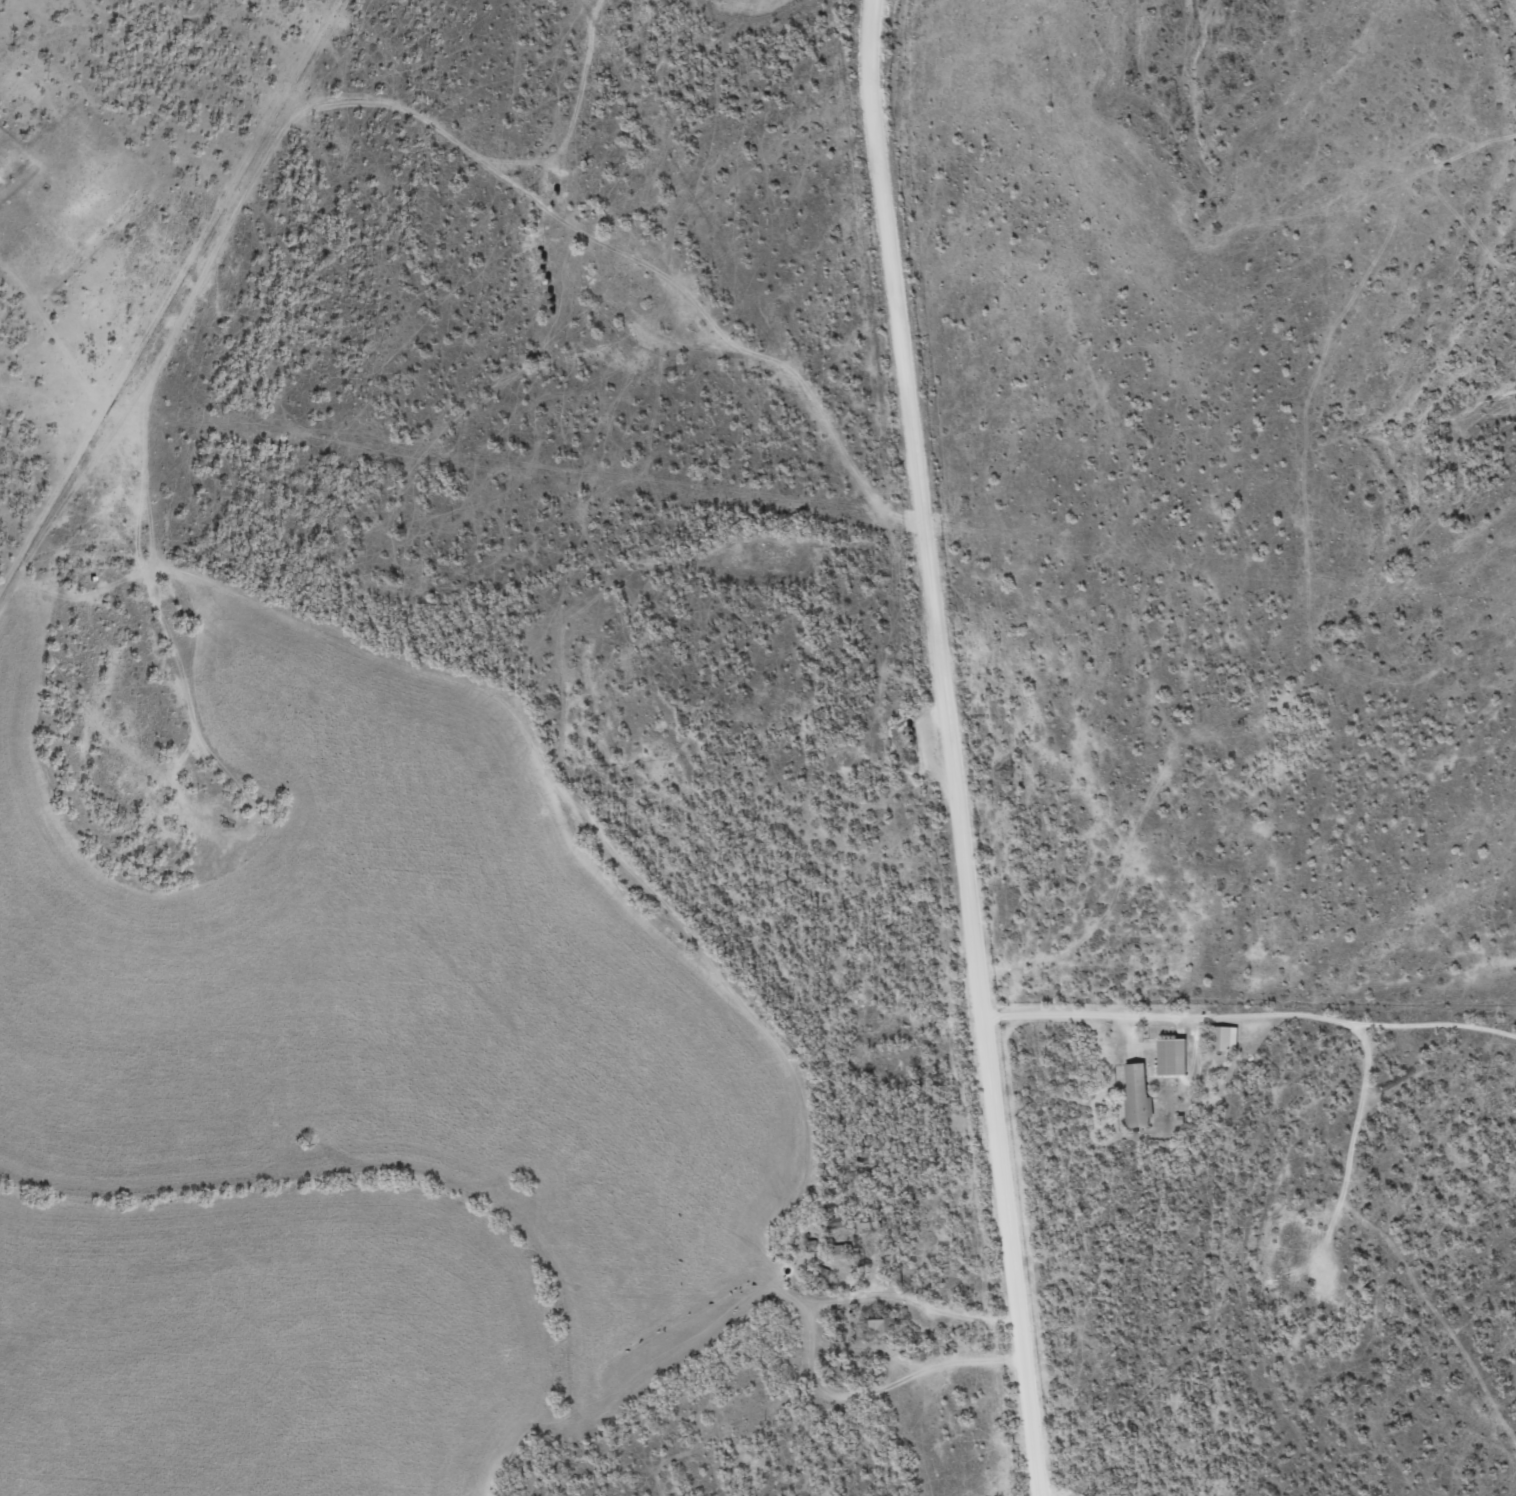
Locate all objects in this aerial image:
road: (944, 748)
building: (1227, 1037)
building: (1175, 1056)
building: (1139, 1095)

